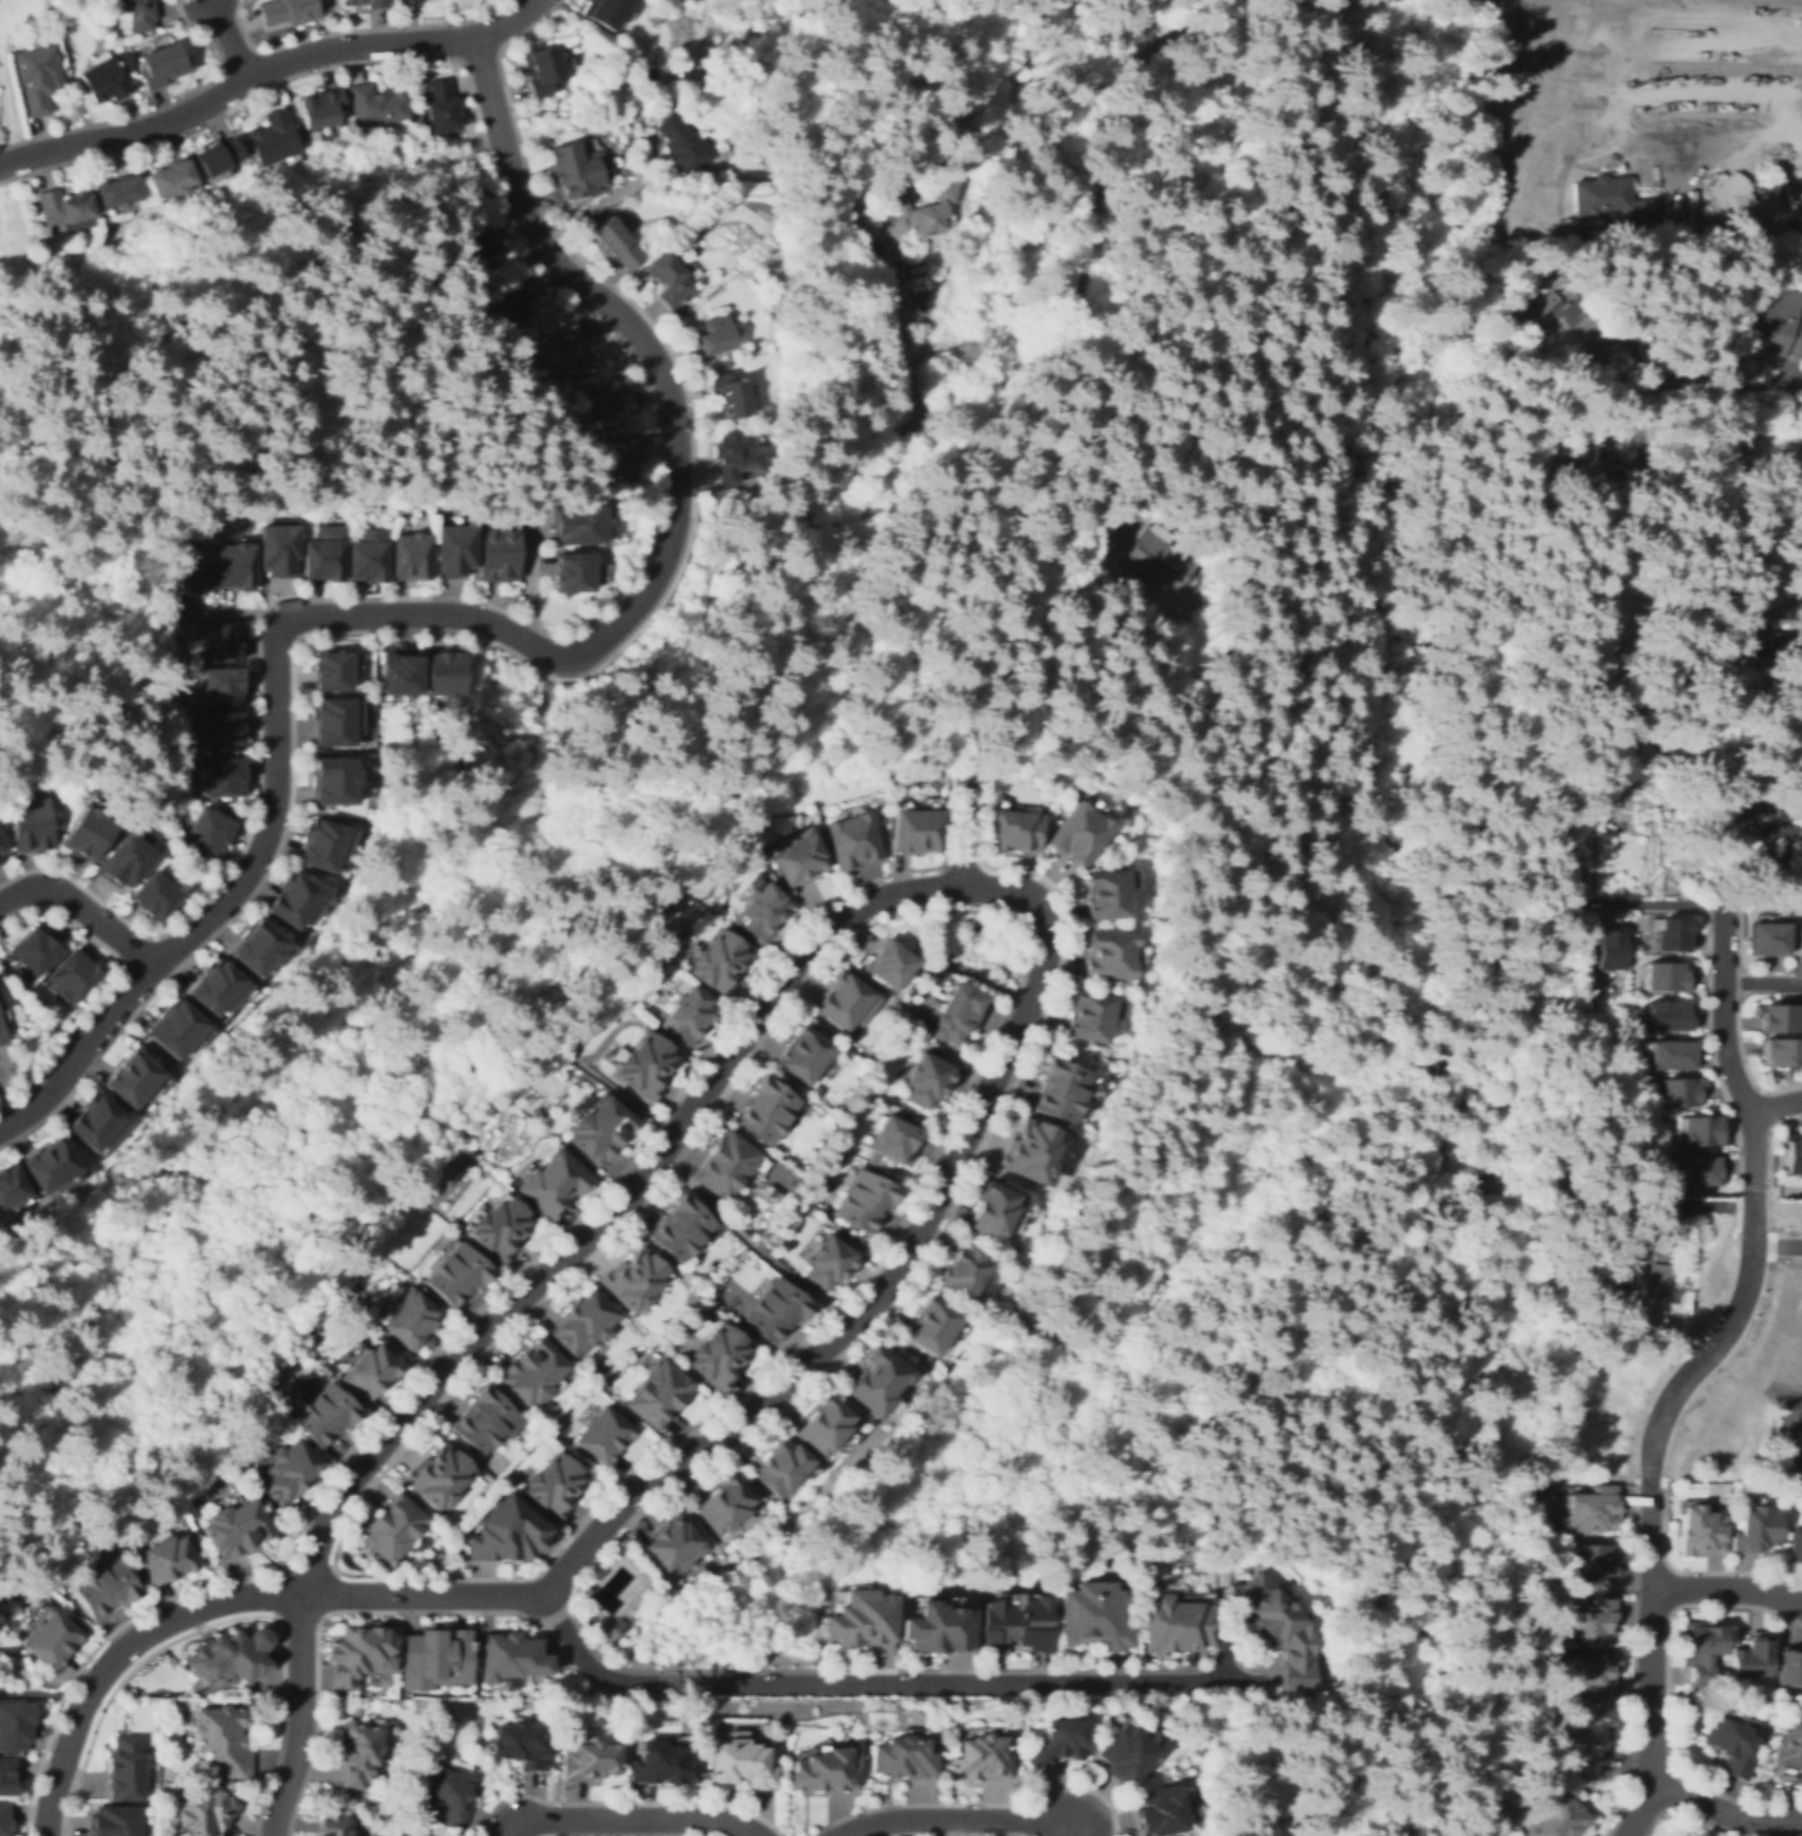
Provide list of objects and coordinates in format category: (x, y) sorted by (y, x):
building: (406, 1)
building: (376, 2)
road: (1599, 6)
building: (134, 10)
building: (285, 10)
building: (605, 10)
road: (504, 21)
road: (1599, 25)
road: (353, 29)
road: (229, 39)
road: (1596, 40)
road: (475, 53)
road: (238, 56)
building: (166, 64)
building: (544, 69)
building: (38, 78)
building: (103, 81)
road: (233, 86)
road: (1592, 93)
road: (1698, 97)
building: (442, 106)
building: (1732, 106)
road: (157, 107)
building: (376, 109)
building: (319, 112)
building: (273, 137)
building: (682, 147)
building: (219, 157)
road: (1695, 159)
road: (1563, 164)
road: (1772, 166)
building: (574, 170)
building: (171, 178)
road: (1800, 188)
building: (118, 192)
building: (1594, 195)
building: (895, 200)
road: (596, 204)
building: (1739, 205)
building: (64, 206)
building: (617, 245)
building: (472, 254)
building: (669, 278)
building: (514, 305)
building: (1549, 305)
building: (1778, 325)
road: (886, 331)
building: (714, 335)
road: (986, 342)
building: (568, 351)
road: (1729, 381)
building: (730, 392)
building: (614, 399)
building: (737, 455)
building: (618, 457)
building: (1592, 471)
road: (675, 486)
road: (654, 526)
building: (578, 528)
building: (450, 549)
building: (276, 551)
building: (497, 554)
building: (321, 555)
building: (410, 556)
building: (365, 559)
building: (1150, 559)
building: (233, 567)
building: (189, 569)
building: (577, 574)
building: (1143, 603)
road: (228, 614)
road: (1654, 624)
building: (221, 645)
road: (527, 663)
building: (331, 670)
building: (444, 674)
building: (399, 676)
building: (223, 688)
building: (338, 722)
building: (225, 732)
road: (1732, 752)
building: (222, 778)
building: (336, 782)
building: (1778, 806)
building: (33, 824)
road: (963, 827)
building: (209, 831)
building: (1015, 831)
building: (916, 832)
building: (1079, 832)
building: (86, 834)
building: (851, 838)
building: (325, 845)
building: (0, 850)
building: (1801, 850)
building: (1, 854)
building: (795, 856)
building: (126, 861)
road: (960, 862)
road: (1780, 868)
building: (1655, 889)
building: (154, 895)
building: (1107, 895)
building: (300, 900)
road: (1664, 903)
road: (214, 906)
road: (80, 909)
building: (760, 912)
road: (858, 928)
building: (1671, 935)
building: (1764, 939)
building: (1795, 939)
road: (166, 950)
building: (262, 950)
building: (36, 951)
building: (1608, 951)
building: (1111, 953)
building: (719, 962)
road: (119, 963)
building: (889, 964)
building: (1661, 975)
building: (75, 976)
road: (1763, 982)
road: (110, 984)
building: (221, 992)
building: (844, 999)
building: (1662, 1014)
building: (687, 1015)
building: (956, 1015)
building: (1089, 1016)
building: (1776, 1018)
building: (2, 1032)
building: (180, 1033)
building: (1781, 1050)
building: (1667, 1054)
building: (804, 1056)
building: (637, 1064)
building: (929, 1078)
building: (138, 1081)
building: (1061, 1090)
building: (1676, 1092)
road: (1776, 1104)
building: (764, 1111)
building: (98, 1124)
building: (593, 1128)
building: (1698, 1130)
building: (896, 1141)
building: (1032, 1152)
building: (1791, 1155)
building: (725, 1166)
building: (51, 1167)
building: (1696, 1171)
park: (772, 1174)
building: (548, 1181)
building: (11, 1191)
building: (865, 1200)
road: (1708, 1205)
road: (613, 1208)
building: (993, 1209)
road: (1751, 1209)
building: (678, 1226)
building: (500, 1229)
road: (747, 1243)
road: (1776, 1245)
building: (829, 1263)
building: (457, 1273)
building: (964, 1274)
building: (633, 1279)
building: (1762, 1280)
building: (1662, 1281)
building: (1603, 1287)
park: (731, 1296)
road: (478, 1302)
building: (776, 1309)
building: (407, 1319)
building: (931, 1324)
building: (582, 1325)
road: (811, 1356)
building: (719, 1358)
park: (594, 1364)
building: (369, 1371)
building: (533, 1375)
building: (877, 1379)
building: (658, 1394)
road: (784, 1405)
building: (323, 1411)
building: (482, 1421)
building: (827, 1427)
building: (603, 1435)
building: (1684, 1451)
park: (491, 1460)
building: (1801, 1461)
building: (783, 1467)
building: (288, 1475)
building: (440, 1477)
building: (555, 1485)
building: (726, 1503)
building: (1594, 1511)
building: (396, 1528)
building: (1753, 1529)
building: (236, 1530)
building: (1702, 1534)
building: (503, 1538)
building: (1796, 1543)
building: (673, 1546)
building: (164, 1558)
building: (1598, 1566)
road: (1694, 1571)
building: (106, 1587)
road: (1727, 1587)
road: (322, 1609)
building: (1094, 1620)
building: (1593, 1620)
road: (216, 1621)
building: (1174, 1622)
building: (860, 1625)
building: (1019, 1627)
building: (937, 1628)
building: (608, 1630)
building: (1276, 1631)
building: (51, 1638)
building: (1701, 1648)
building: (233, 1650)
road: (119, 1655)
building: (359, 1656)
building: (433, 1657)
building: (509, 1657)
building: (1750, 1659)
road: (1631, 1661)
road: (1649, 1666)
building: (1791, 1670)
building: (1594, 1673)
road: (878, 1683)
road: (1662, 1688)
road: (297, 1715)
building: (12, 1725)
building: (225, 1739)
building: (1061, 1739)
building: (1585, 1741)
building: (1733, 1745)
building: (1791, 1746)
building: (518, 1749)
building: (1123, 1752)
building: (357, 1755)
building: (903, 1758)
building: (979, 1758)
building: (661, 1761)
building: (586, 1762)
building: (739, 1762)
building: (824, 1768)
building: (125, 1770)
building: (6, 1778)
building: (452, 1792)
road: (622, 1801)
road: (974, 1804)
road: (1713, 1810)
building: (208, 1812)
building: (1160, 1812)
road: (1688, 1813)
building: (1560, 1814)
road: (631, 1819)
building: (4, 1820)
road: (954, 1820)
building: (113, 1823)
building: (334, 1827)
road: (952, 1832)
road: (629, 1834)
building: (1689, 1834)

